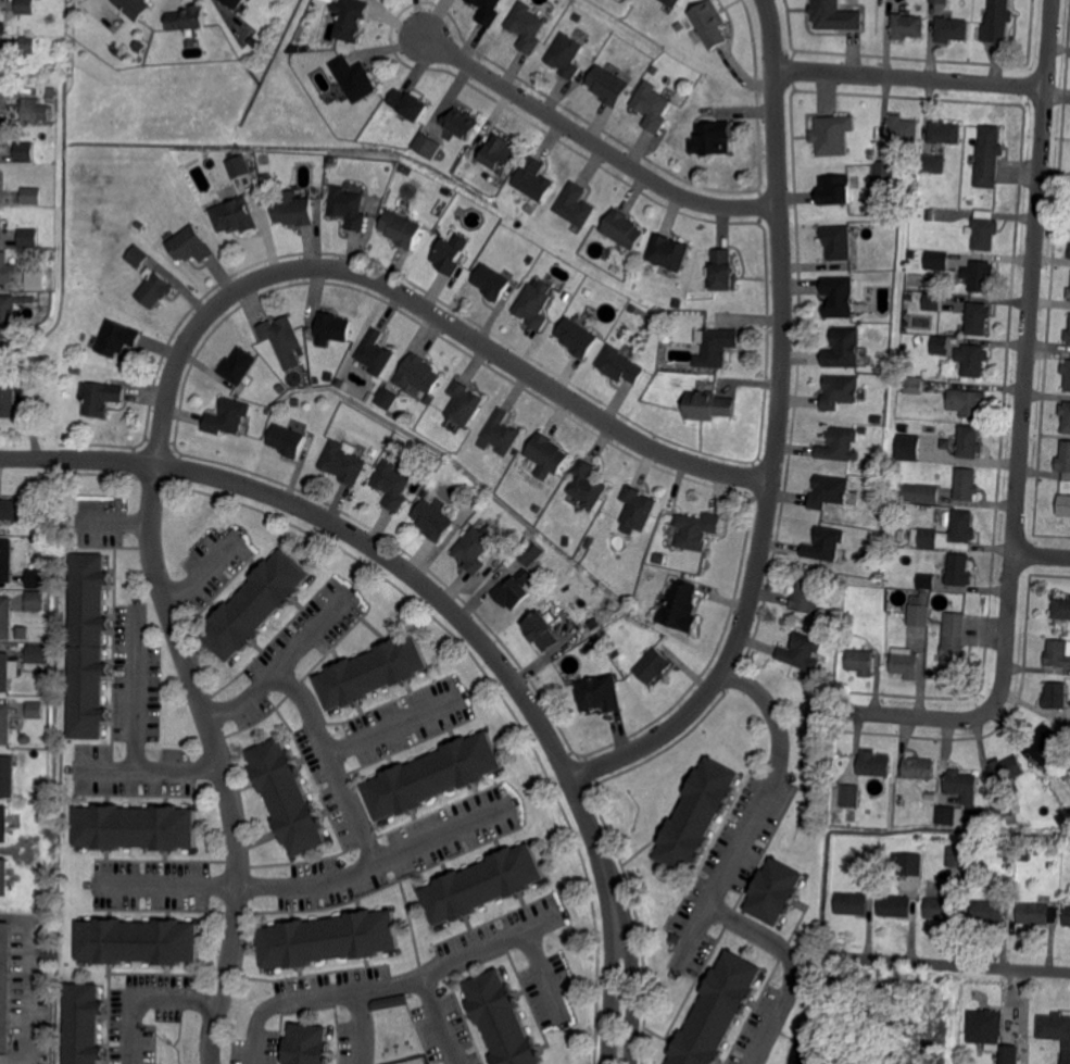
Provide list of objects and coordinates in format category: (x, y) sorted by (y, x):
building: (330, 0)
building: (939, 2)
building: (234, 3)
building: (672, 3)
building: (24, 8)
building: (133, 8)
building: (487, 11)
building: (832, 16)
building: (186, 18)
building: (577, 18)
building: (349, 20)
building: (996, 21)
building: (2, 23)
building: (707, 23)
building: (908, 25)
building: (527, 28)
building: (952, 29)
building: (27, 45)
building: (299, 49)
building: (566, 57)
road: (911, 76)
building: (353, 78)
building: (608, 86)
building: (2, 97)
building: (50, 98)
building: (410, 104)
building: (652, 107)
building: (34, 110)
building: (460, 123)
building: (902, 128)
building: (945, 132)
building: (831, 135)
building: (714, 137)
road: (593, 139)
building: (426, 146)
building: (25, 152)
building: (500, 154)
building: (989, 155)
building: (933, 163)
building: (237, 165)
building: (916, 168)
building: (886, 171)
building: (533, 179)
building: (835, 189)
building: (30, 196)
building: (349, 205)
building: (575, 205)
building: (295, 210)
building: (235, 214)
building: (930, 214)
building: (139, 224)
building: (401, 226)
building: (622, 229)
building: (982, 235)
building: (28, 237)
building: (834, 242)
building: (189, 243)
building: (1069, 251)
building: (668, 252)
building: (911, 254)
building: (449, 255)
building: (137, 256)
building: (935, 259)
building: (5, 267)
building: (720, 271)
building: (981, 275)
building: (38, 278)
building: (491, 280)
building: (154, 288)
building: (1069, 292)
building: (839, 297)
building: (932, 301)
road: (421, 303)
building: (534, 305)
building: (10, 313)
building: (978, 317)
building: (332, 327)
building: (578, 336)
building: (666, 336)
building: (1068, 336)
building: (117, 338)
building: (284, 339)
building: (940, 345)
building: (718, 346)
building: (841, 349)
building: (375, 351)
road: (1028, 356)
building: (696, 360)
building: (971, 360)
building: (620, 363)
building: (238, 366)
building: (75, 371)
building: (1067, 373)
building: (417, 374)
building: (914, 385)
building: (839, 389)
building: (8, 390)
building: (33, 397)
building: (102, 397)
building: (385, 397)
building: (464, 401)
building: (966, 402)
building: (708, 404)
building: (229, 415)
building: (1066, 415)
building: (877, 420)
building: (903, 426)
building: (864, 428)
building: (502, 431)
road: (775, 433)
building: (287, 439)
building: (970, 441)
building: (946, 442)
building: (840, 443)
building: (906, 447)
building: (547, 451)
building: (1065, 458)
building: (344, 462)
building: (393, 483)
building: (588, 484)
building: (967, 484)
building: (829, 490)
building: (918, 491)
building: (478, 498)
building: (1062, 503)
building: (638, 505)
building: (17, 509)
road: (115, 515)
building: (432, 520)
building: (926, 529)
building: (697, 531)
building: (877, 538)
building: (566, 539)
building: (826, 542)
building: (589, 543)
building: (475, 548)
road: (378, 549)
building: (530, 553)
road: (1042, 554)
building: (659, 559)
building: (5, 561)
building: (547, 566)
road: (206, 568)
building: (960, 569)
building: (38, 577)
building: (928, 580)
building: (512, 591)
building: (807, 591)
building: (37, 600)
building: (255, 603)
building: (681, 605)
building: (1061, 608)
building: (919, 613)
building: (5, 617)
building: (824, 627)
building: (541, 628)
building: (847, 631)
building: (24, 633)
building: (89, 643)
building: (954, 643)
building: (592, 644)
building: (803, 650)
building: (36, 653)
building: (1058, 653)
road: (287, 659)
building: (861, 661)
building: (905, 662)
building: (652, 666)
building: (372, 671)
building: (5, 672)
road: (136, 684)
building: (599, 691)
building: (1057, 694)
building: (36, 710)
road: (916, 715)
road: (398, 722)
building: (5, 724)
building: (24, 738)
building: (1049, 743)
road: (221, 756)
road: (333, 762)
building: (874, 763)
building: (919, 768)
road: (149, 769)
building: (1007, 769)
building: (432, 774)
building: (8, 776)
building: (962, 786)
building: (41, 793)
building: (851, 794)
building: (287, 796)
building: (898, 801)
building: (1004, 808)
building: (839, 809)
building: (696, 814)
building: (951, 815)
building: (969, 818)
building: (5, 824)
building: (135, 825)
building: (941, 844)
building: (1037, 850)
building: (1008, 853)
building: (895, 854)
building: (958, 855)
building: (910, 862)
road: (729, 865)
road: (601, 873)
building: (870, 874)
building: (5, 876)
road: (317, 883)
building: (482, 883)
building: (776, 890)
building: (852, 903)
building: (895, 905)
building: (942, 909)
building: (989, 911)
building: (1037, 913)
building: (1067, 915)
building: (328, 937)
building: (138, 939)
building: (675, 939)
road: (946, 963)
road: (25, 975)
road: (415, 979)
building: (5, 985)
road: (146, 996)
building: (388, 1003)
building: (717, 1011)
building: (501, 1019)
road: (441, 1021)
building: (84, 1023)
building: (986, 1027)
road: (362, 1028)
building: (1056, 1031)
building: (306, 1044)
building: (1009, 1054)
road: (17, 1056)

